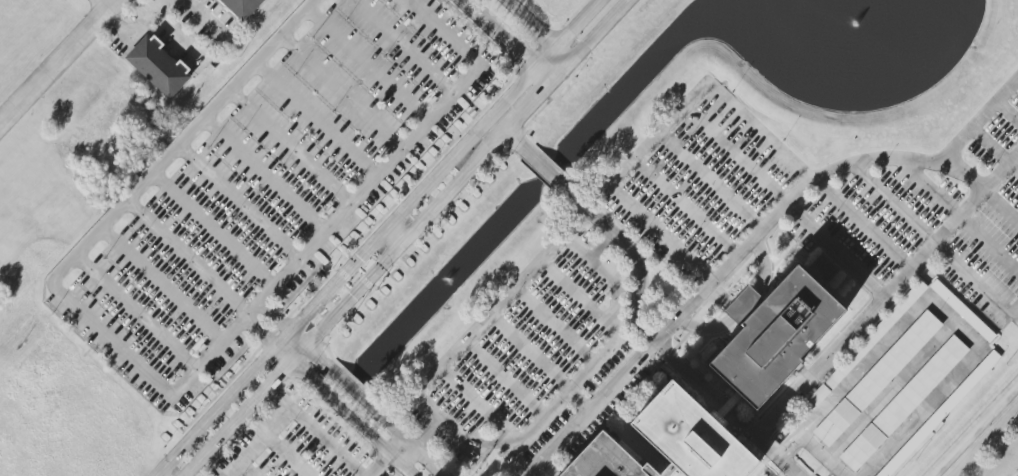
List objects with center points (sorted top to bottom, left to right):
road: (103, 5)
building: (242, 7)
road: (479, 15)
road: (529, 24)
road: (581, 24)
road: (137, 30)
road: (405, 47)
road: (516, 49)
road: (565, 55)
road: (547, 58)
road: (60, 61)
road: (369, 65)
building: (158, 67)
road: (545, 76)
road: (343, 94)
road: (1007, 112)
road: (317, 122)
road: (659, 135)
road: (518, 141)
road: (291, 149)
road: (994, 149)
road: (737, 155)
road: (545, 167)
road: (964, 174)
road: (266, 175)
road: (817, 176)
road: (711, 183)
road: (241, 202)
road: (1001, 206)
road: (686, 209)
road: (957, 214)
road: (860, 226)
road: (214, 230)
road: (409, 236)
road: (934, 240)
road: (603, 246)
road: (838, 249)
road: (633, 253)
road: (188, 258)
road: (347, 272)
road: (608, 276)
road: (164, 283)
road: (576, 295)
road: (884, 298)
building: (962, 311)
road: (136, 313)
road: (1015, 314)
road: (276, 317)
road: (556, 325)
road: (263, 330)
building: (865, 346)
road: (530, 353)
building: (739, 378)
building: (877, 379)
road: (505, 380)
road: (168, 389)
road: (578, 401)
road: (477, 403)
building: (903, 404)
road: (357, 409)
road: (294, 411)
road: (587, 411)
road: (917, 414)
building: (939, 414)
road: (974, 430)
road: (423, 435)
road: (796, 440)
road: (781, 452)
road: (819, 452)
road: (286, 456)
road: (770, 457)
road: (779, 459)
road: (383, 460)
road: (247, 470)
building: (373, 475)
park: (1017, 475)

